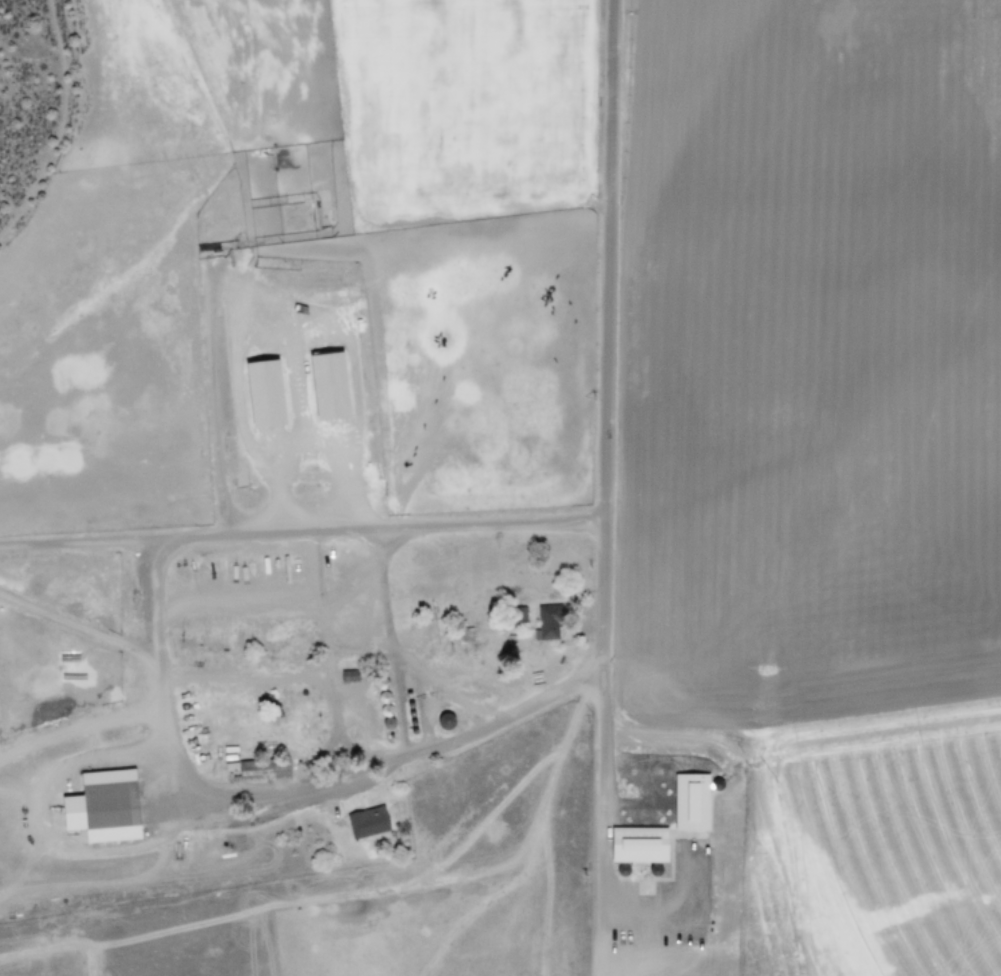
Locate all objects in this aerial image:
building: (324, 383)
building: (260, 391)
road: (596, 619)
building: (544, 621)
building: (348, 674)
building: (261, 769)
building: (100, 805)
building: (690, 809)
building: (365, 821)

